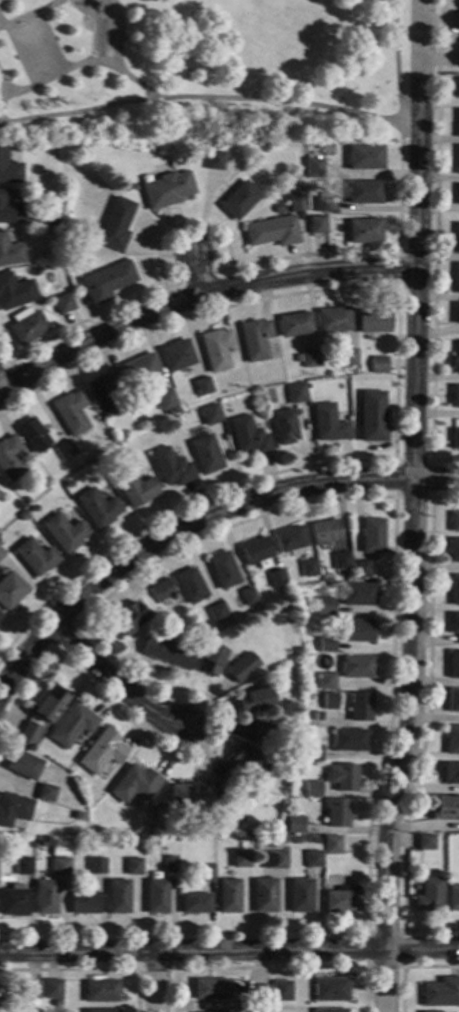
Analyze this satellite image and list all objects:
road: (28, 14)
building: (457, 22)
road: (51, 39)
park: (33, 48)
road: (17, 55)
road: (114, 58)
building: (457, 60)
road: (57, 72)
park: (201, 72)
building: (457, 87)
road: (1, 90)
road: (347, 109)
road: (79, 110)
building: (456, 125)
building: (363, 158)
building: (213, 160)
building: (457, 160)
building: (312, 168)
building: (8, 170)
building: (166, 190)
building: (362, 192)
building: (457, 195)
building: (294, 199)
building: (238, 200)
building: (324, 204)
building: (9, 211)
building: (318, 224)
building: (114, 225)
building: (271, 231)
building: (363, 231)
building: (456, 239)
road: (433, 243)
road: (226, 249)
building: (9, 252)
road: (194, 270)
road: (196, 276)
building: (456, 277)
building: (105, 282)
road: (396, 287)
building: (14, 292)
road: (197, 293)
building: (62, 304)
building: (455, 313)
building: (332, 320)
building: (372, 320)
building: (293, 325)
building: (27, 328)
building: (253, 339)
building: (215, 349)
building: (176, 356)
building: (296, 357)
building: (346, 357)
building: (309, 358)
road: (3, 359)
building: (456, 359)
building: (377, 364)
road: (3, 367)
building: (140, 369)
building: (201, 386)
road: (1, 388)
road: (394, 390)
building: (296, 393)
building: (105, 394)
building: (455, 396)
building: (165, 399)
road: (2, 409)
building: (171, 411)
building: (70, 413)
building: (209, 415)
building: (372, 417)
building: (327, 424)
building: (284, 427)
building: (32, 435)
building: (248, 437)
building: (455, 439)
building: (64, 451)
building: (205, 455)
building: (10, 459)
building: (170, 468)
building: (66, 484)
building: (134, 488)
road: (393, 495)
road: (362, 497)
building: (25, 501)
building: (17, 505)
road: (413, 506)
building: (97, 508)
building: (33, 509)
building: (22, 516)
road: (198, 519)
building: (454, 521)
building: (64, 532)
building: (325, 532)
building: (372, 535)
building: (289, 541)
building: (453, 550)
building: (255, 553)
building: (1, 554)
building: (35, 557)
building: (340, 560)
building: (308, 568)
building: (360, 570)
building: (223, 571)
building: (276, 578)
building: (190, 585)
building: (453, 590)
building: (10, 591)
building: (161, 591)
building: (357, 595)
building: (248, 596)
building: (324, 607)
building: (217, 613)
building: (0, 615)
building: (128, 619)
building: (453, 625)
building: (357, 631)
road: (64, 636)
building: (326, 645)
building: (167, 652)
building: (210, 660)
building: (453, 665)
building: (357, 667)
building: (237, 671)
building: (325, 681)
road: (112, 682)
building: (452, 700)
building: (254, 701)
building: (329, 701)
building: (49, 705)
building: (360, 707)
building: (319, 716)
building: (71, 726)
road: (424, 728)
building: (263, 732)
building: (28, 735)
building: (349, 740)
building: (452, 740)
building: (102, 753)
building: (311, 753)
building: (22, 764)
building: (243, 766)
building: (450, 773)
building: (342, 777)
building: (135, 784)
building: (312, 789)
building: (202, 792)
building: (46, 793)
building: (179, 801)
building: (153, 806)
building: (445, 808)
building: (13, 809)
building: (336, 814)
building: (79, 817)
building: (197, 825)
building: (295, 825)
building: (440, 839)
building: (425, 843)
building: (332, 845)
building: (95, 848)
building: (160, 850)
building: (240, 859)
building: (312, 859)
building: (273, 860)
building: (22, 865)
building: (169, 865)
building: (95, 866)
building: (132, 866)
building: (58, 867)
building: (206, 873)
building: (264, 895)
building: (429, 895)
building: (156, 896)
building: (228, 896)
building: (300, 896)
building: (45, 897)
building: (117, 897)
building: (452, 898)
building: (341, 900)
building: (13, 901)
building: (195, 903)
building: (85, 904)
road: (401, 930)
road: (229, 951)
road: (407, 966)
road: (137, 968)
road: (269, 968)
road: (90, 969)
road: (154, 982)
building: (72, 986)
building: (30, 989)
building: (51, 989)
building: (210, 989)
building: (237, 990)
building: (330, 990)
building: (101, 992)
building: (281, 992)
building: (260, 993)
building: (440, 993)
building: (56, 1005)
building: (329, 1010)
building: (101, 1011)
building: (430, 1011)

